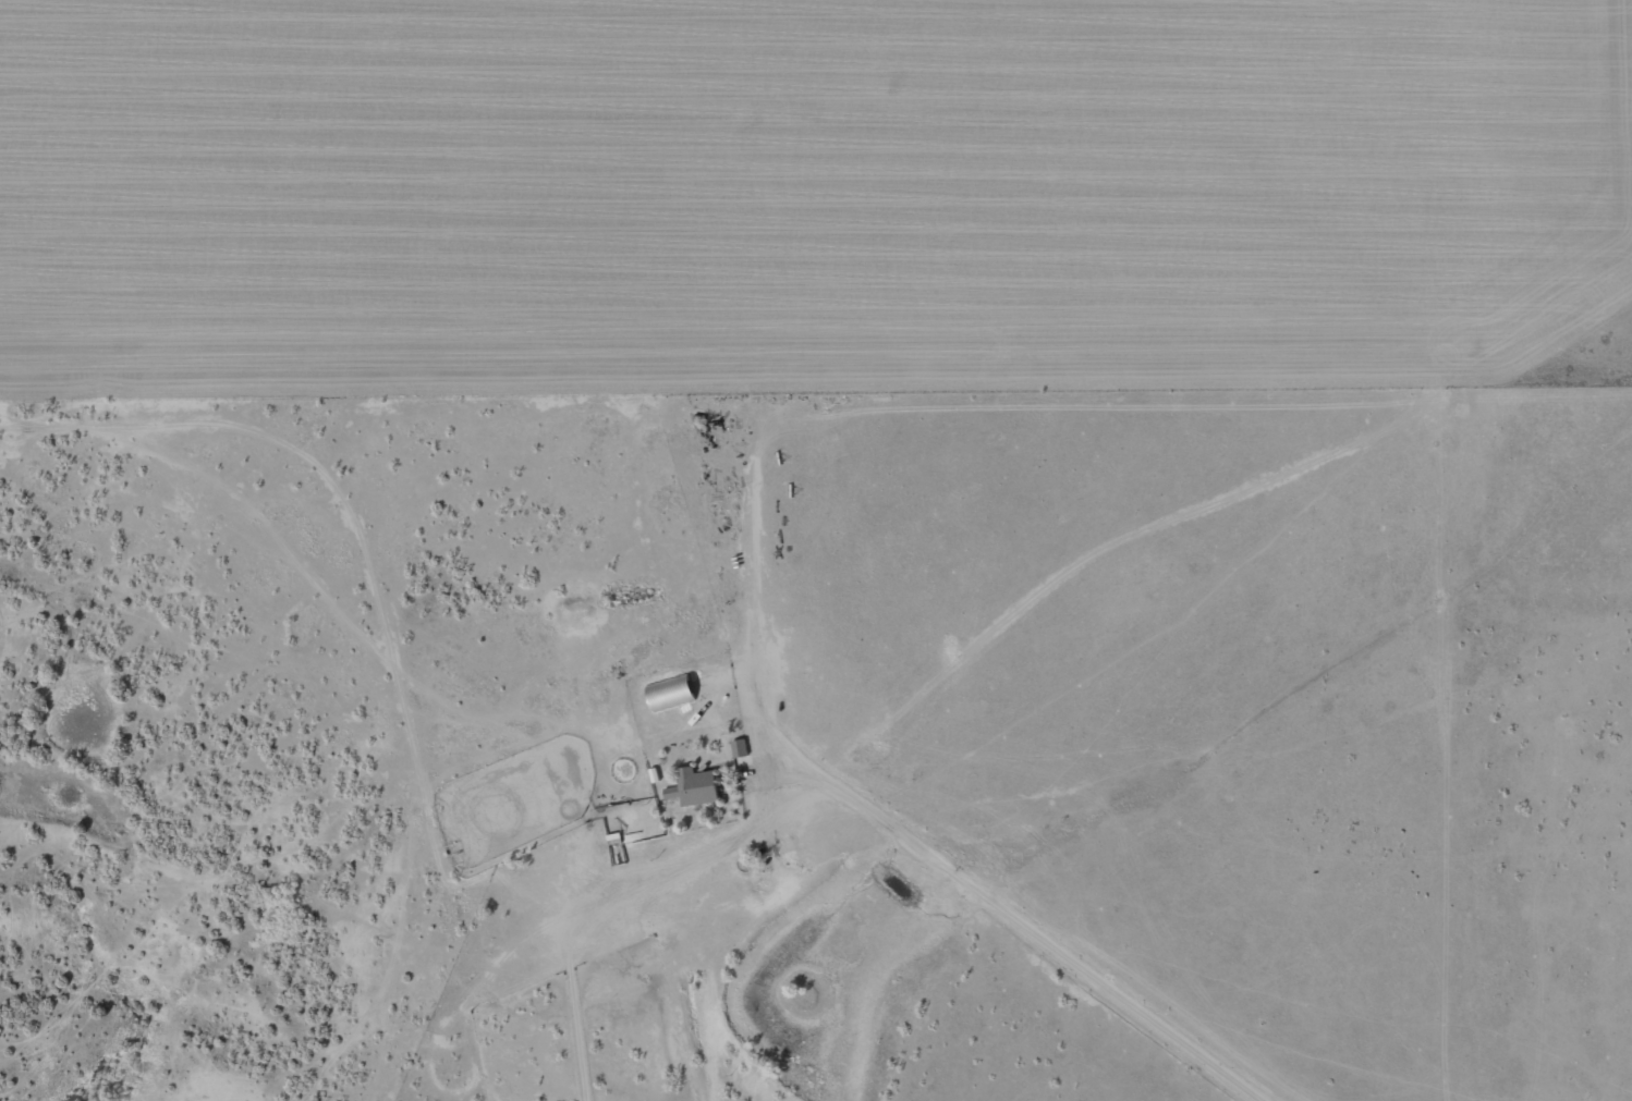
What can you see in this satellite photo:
building: (738, 748)
building: (691, 787)
road: (1014, 918)

